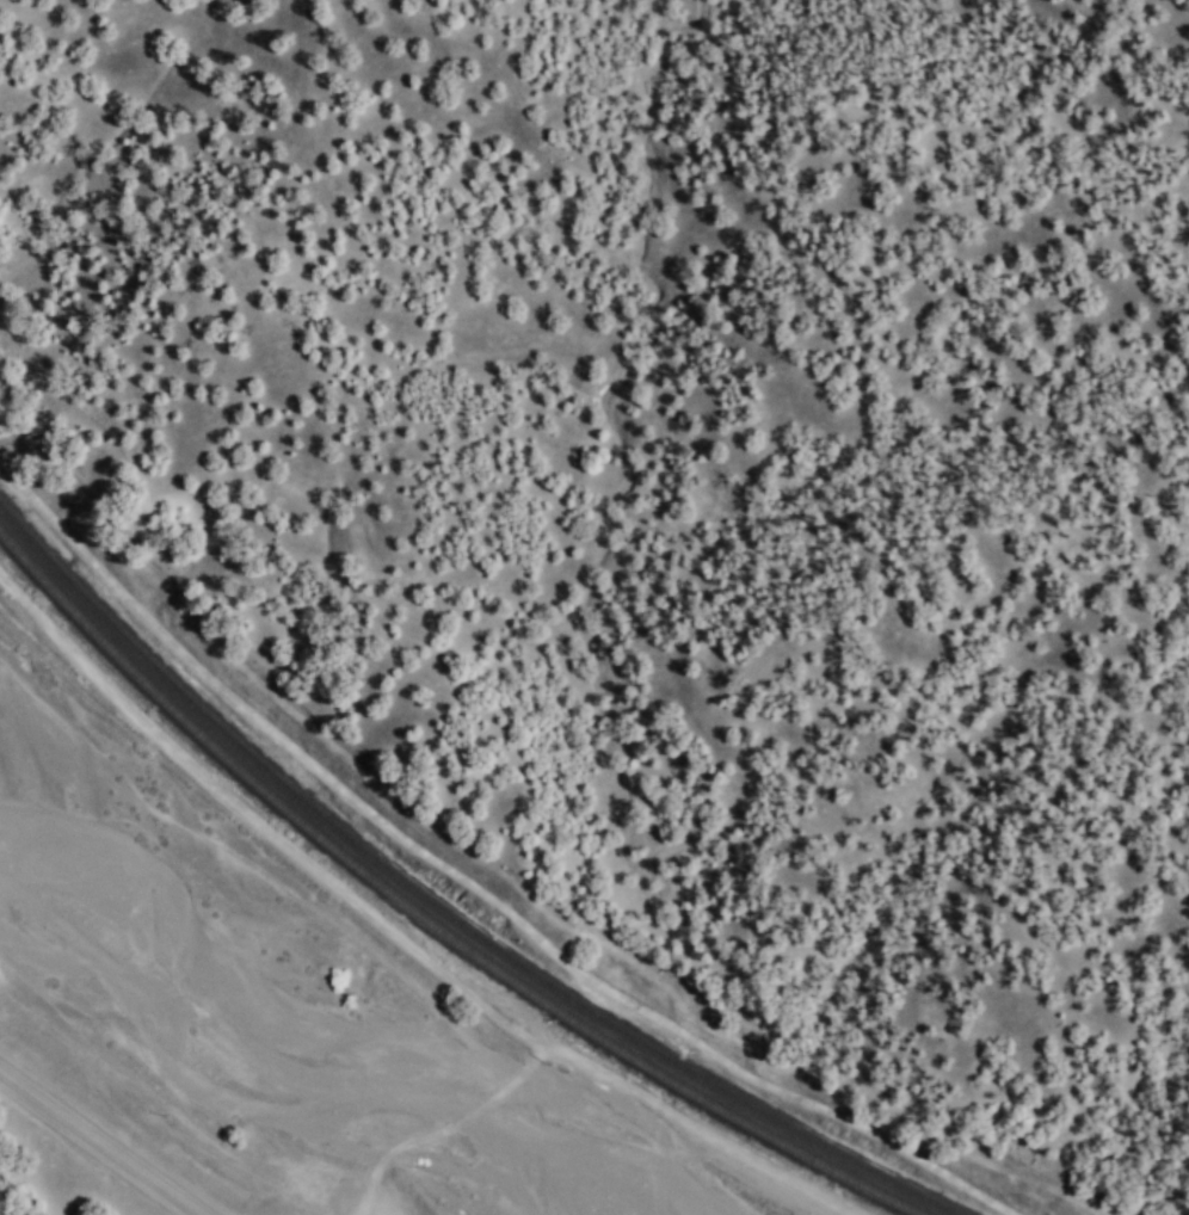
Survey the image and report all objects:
railway: (442, 911)
railway: (429, 919)
river: (292, 1016)
road: (99, 1141)
river: (626, 1199)

